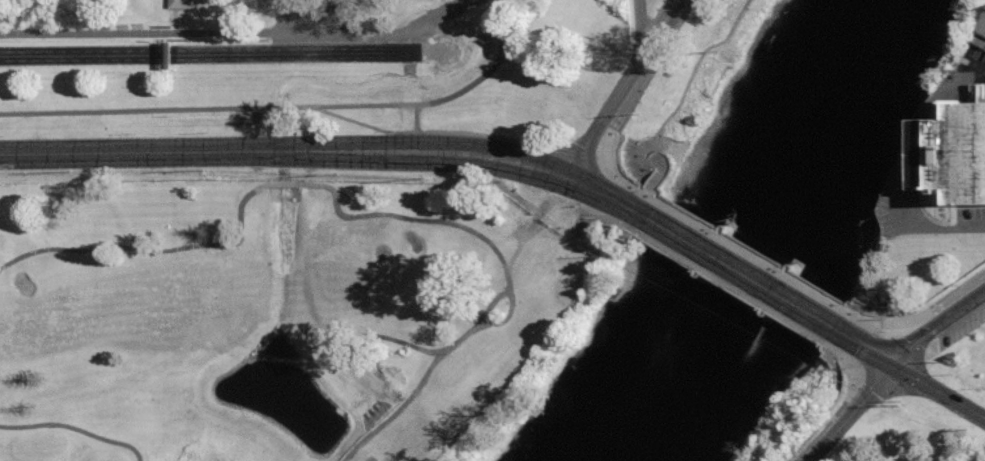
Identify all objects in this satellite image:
park: (308, 23)
road: (642, 23)
road: (240, 33)
building: (980, 34)
parking lot: (972, 60)
road: (974, 66)
road: (623, 90)
road: (626, 101)
road: (288, 108)
road: (668, 113)
road: (460, 132)
building: (955, 150)
road: (384, 157)
road: (171, 160)
road: (503, 161)
road: (900, 191)
road: (604, 194)
parking lot: (898, 203)
road: (595, 209)
parking lot: (970, 218)
road: (947, 226)
road: (280, 236)
river: (757, 237)
road: (128, 247)
road: (496, 249)
road: (750, 254)
road: (724, 286)
park: (395, 288)
road: (945, 302)
road: (494, 303)
park: (285, 316)
road: (935, 323)
parking lot: (961, 327)
road: (866, 349)
road: (827, 357)
road: (849, 367)
road: (938, 391)
park: (922, 403)
road: (850, 413)
road: (391, 418)
road: (75, 429)
road: (361, 448)

